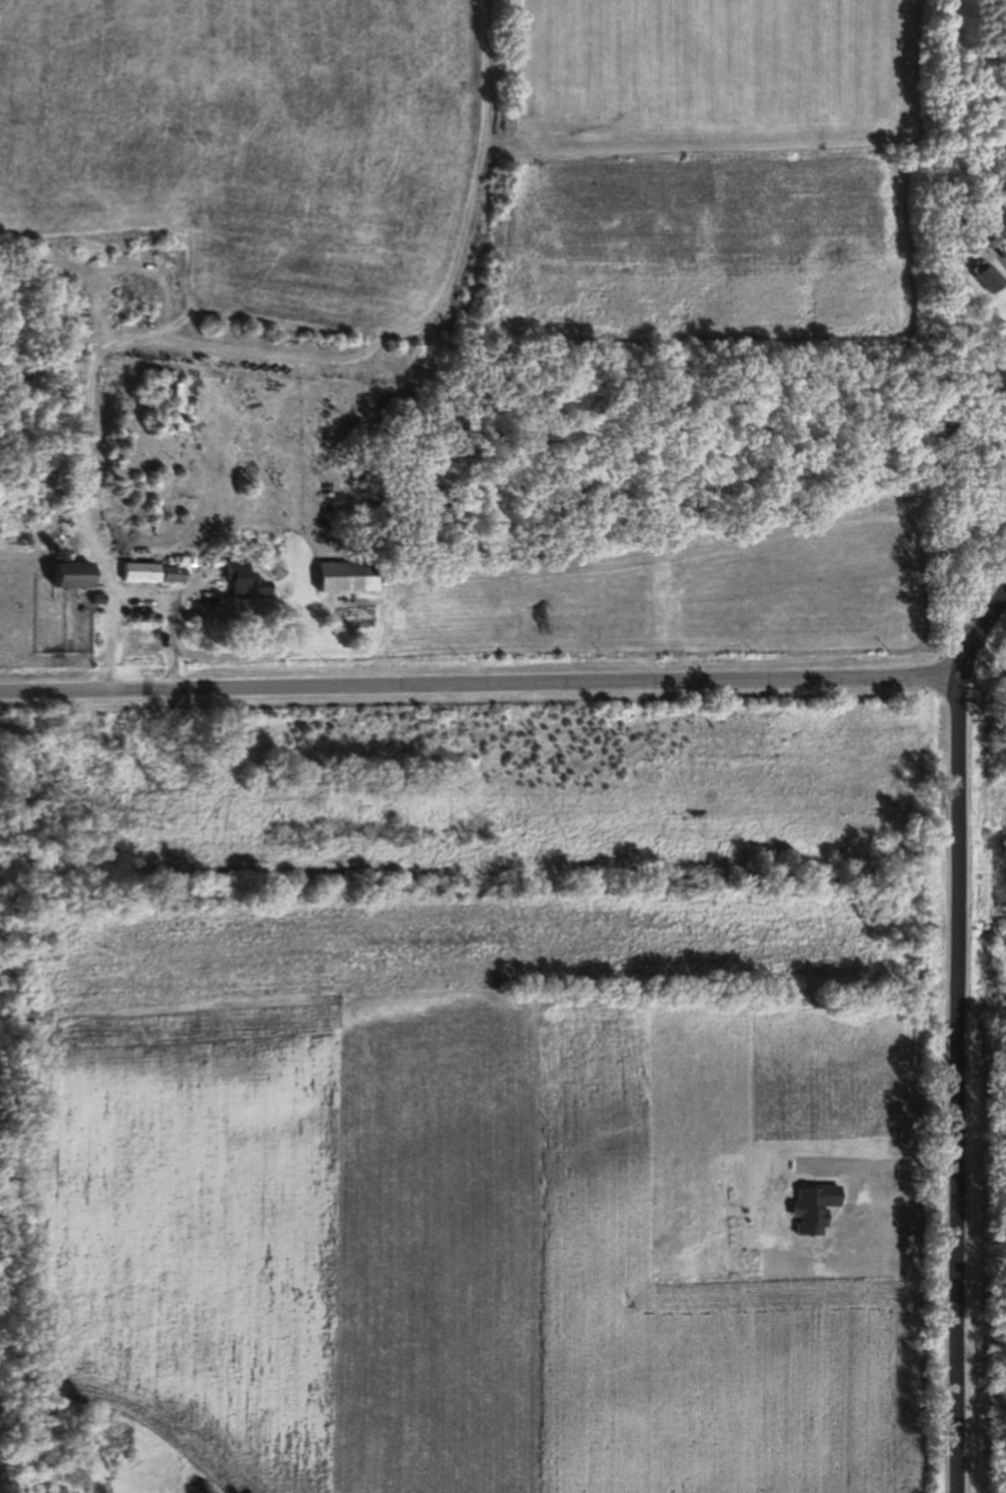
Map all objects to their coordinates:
building: (983, 286)
building: (174, 415)
building: (152, 581)
building: (345, 584)
building: (68, 588)
building: (244, 591)
building: (353, 626)
road: (989, 660)
road: (485, 691)
road: (958, 1031)
crop: (463, 1193)

